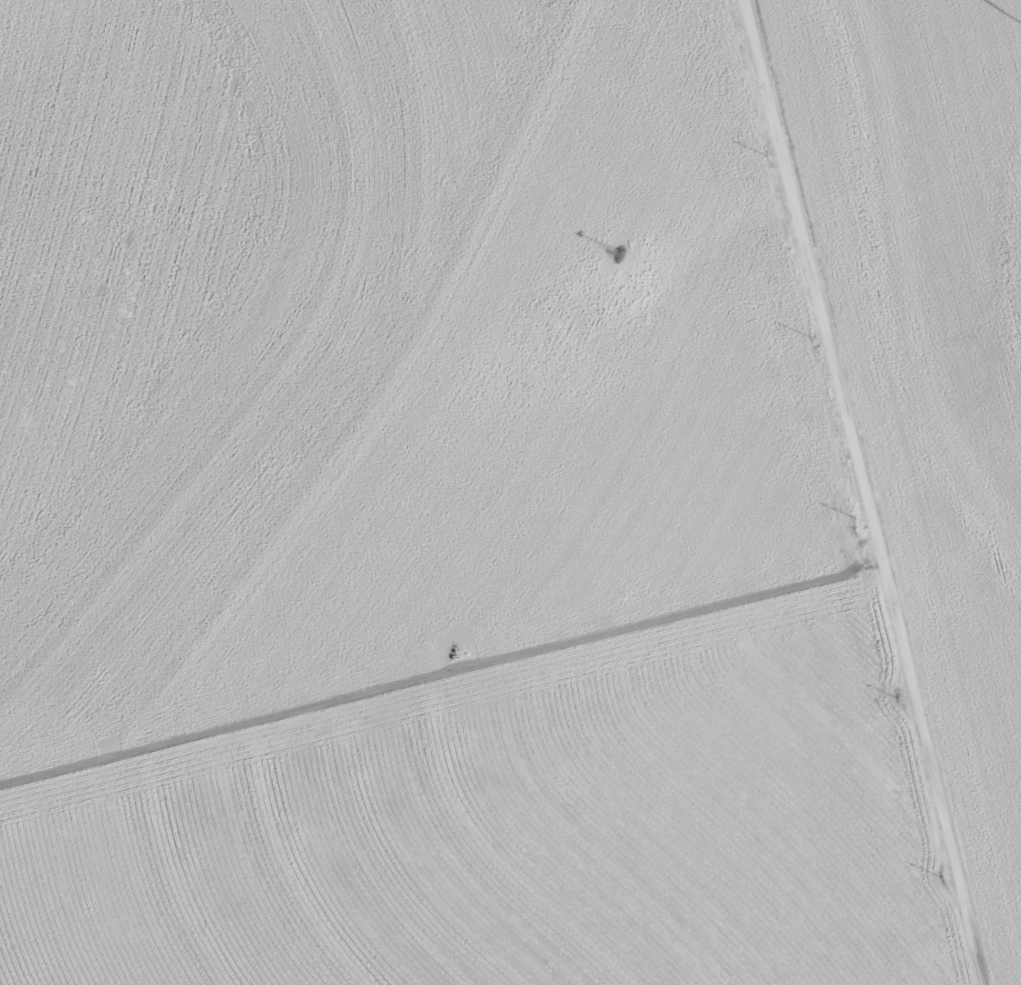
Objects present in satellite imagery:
road: (867, 492)

